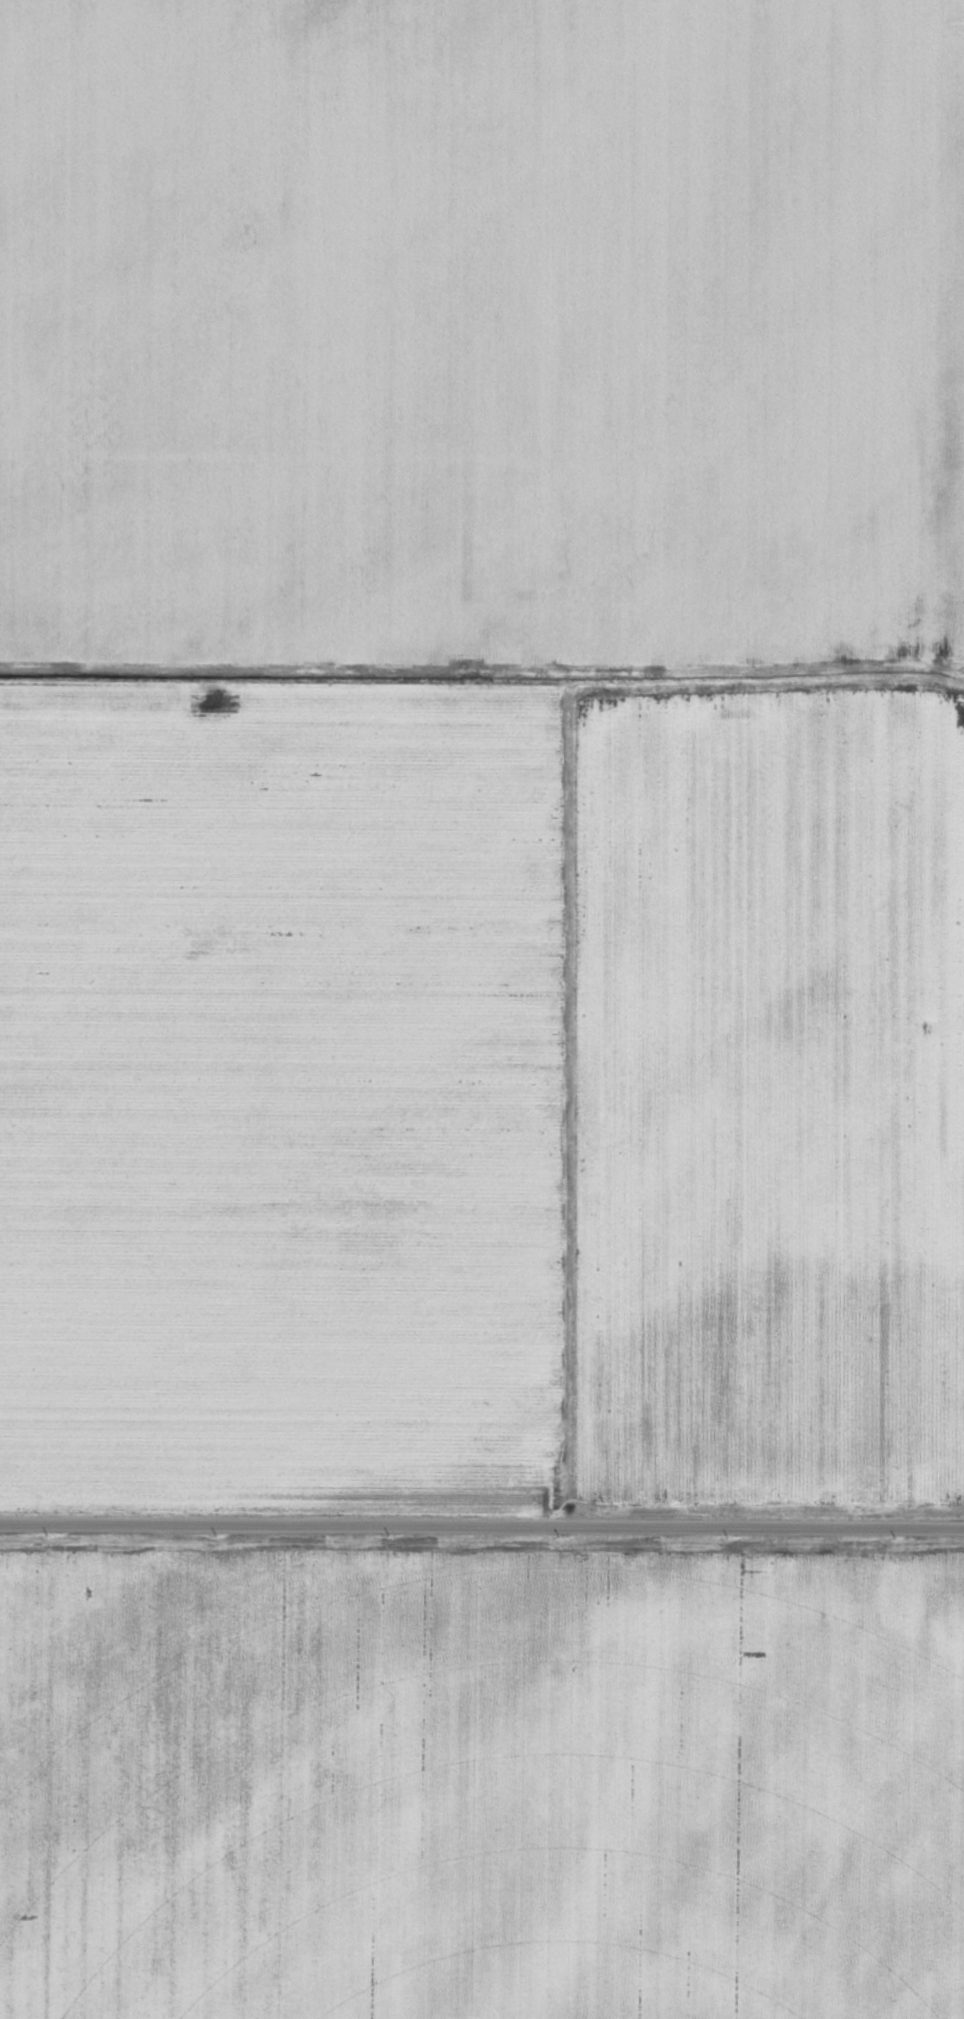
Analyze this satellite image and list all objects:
road: (565, 1111)
road: (481, 1529)

